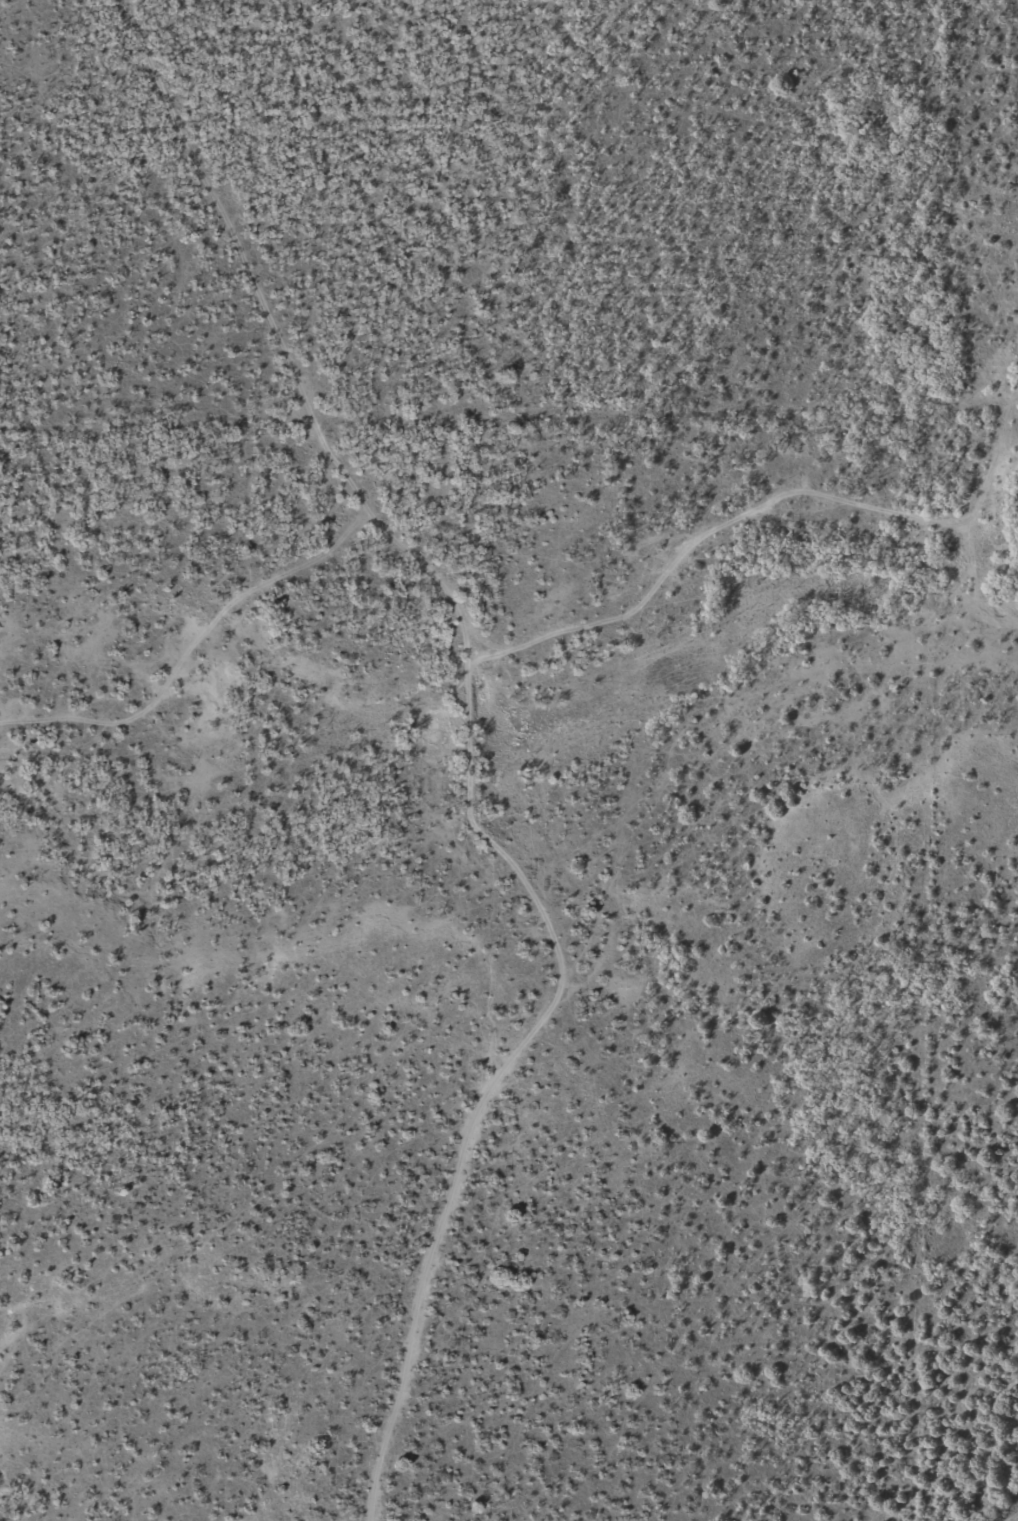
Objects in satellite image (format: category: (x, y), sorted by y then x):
road: (799, 563)
road: (593, 707)
road: (1015, 1511)

